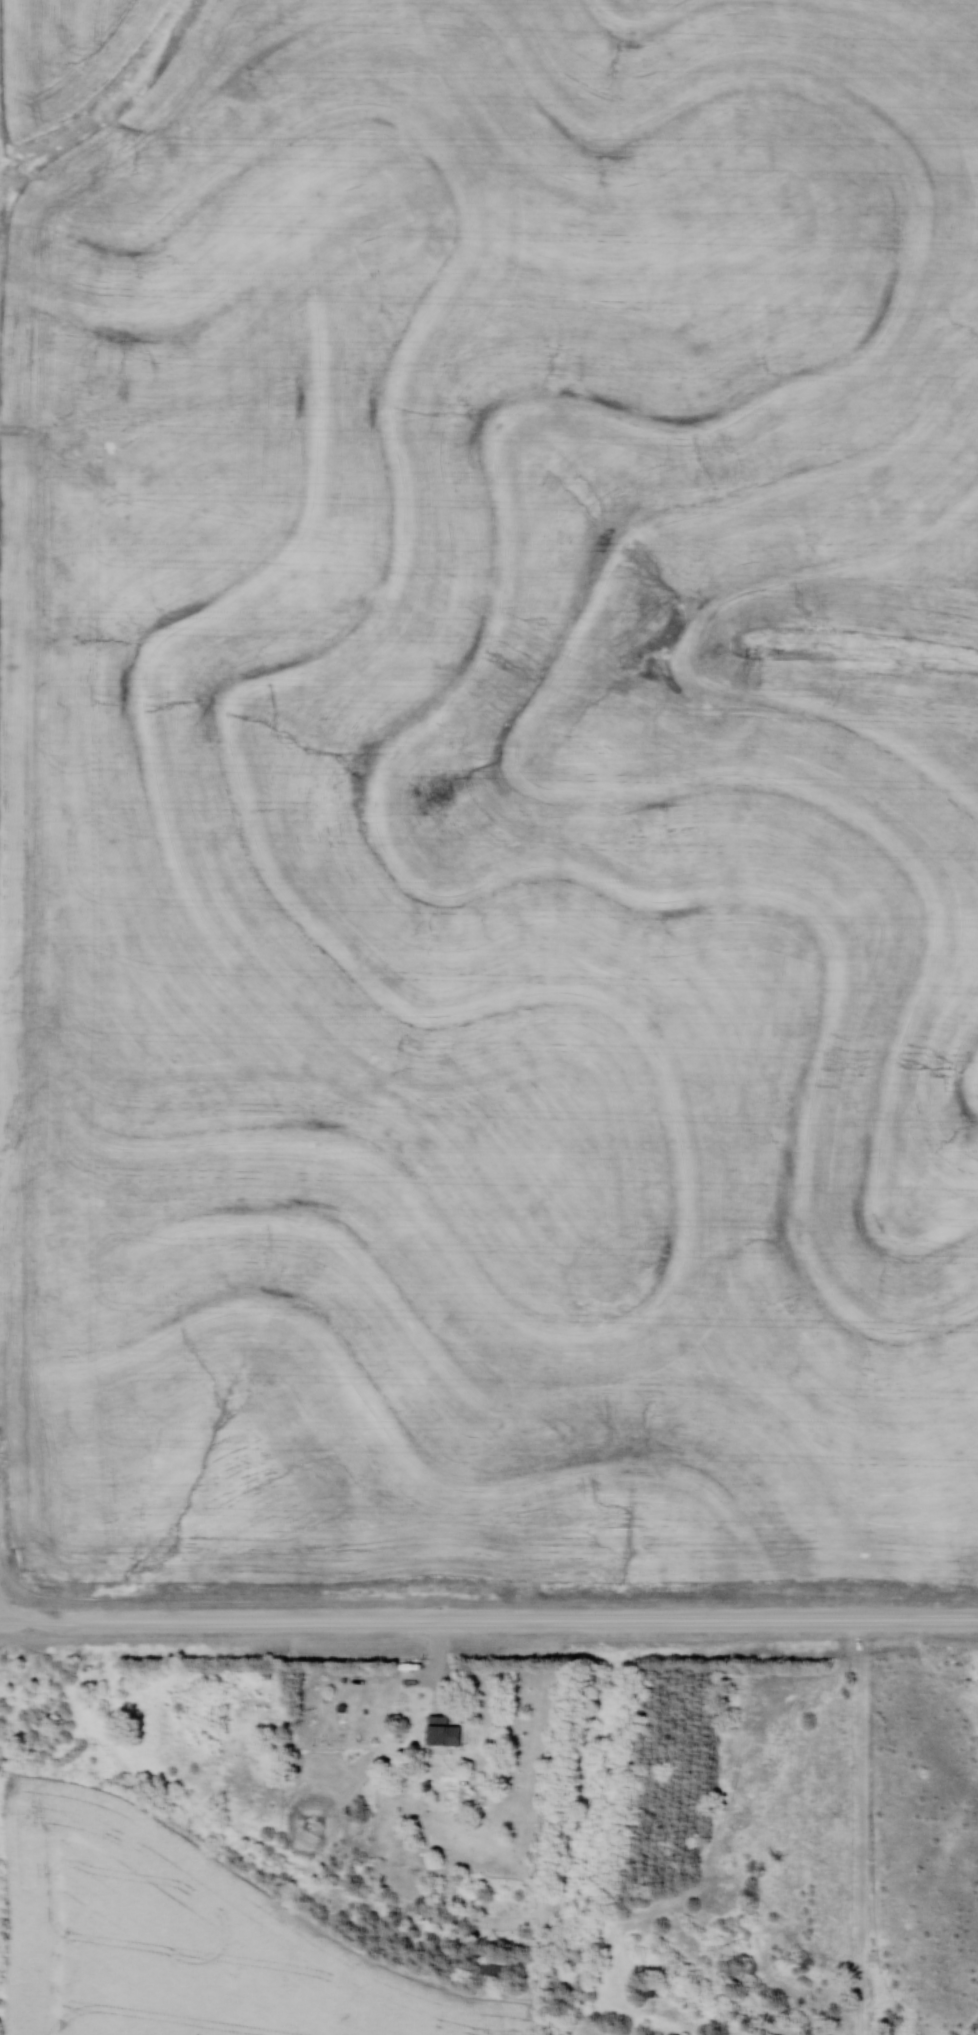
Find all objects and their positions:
road: (489, 1617)
building: (440, 1730)
building: (490, 1969)

